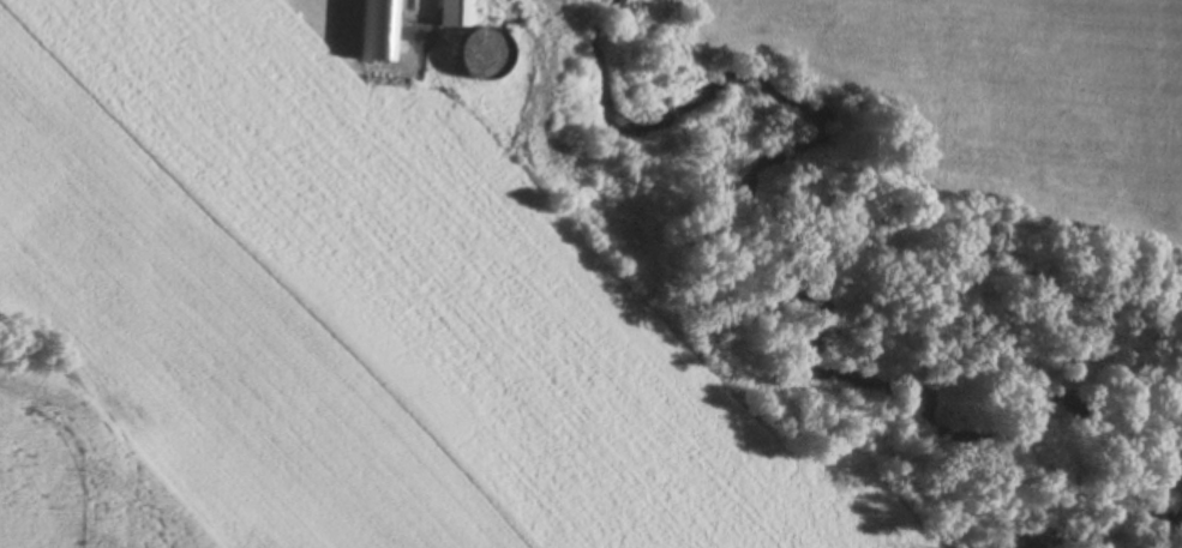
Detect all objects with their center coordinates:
building: (458, 12)
building: (380, 30)

